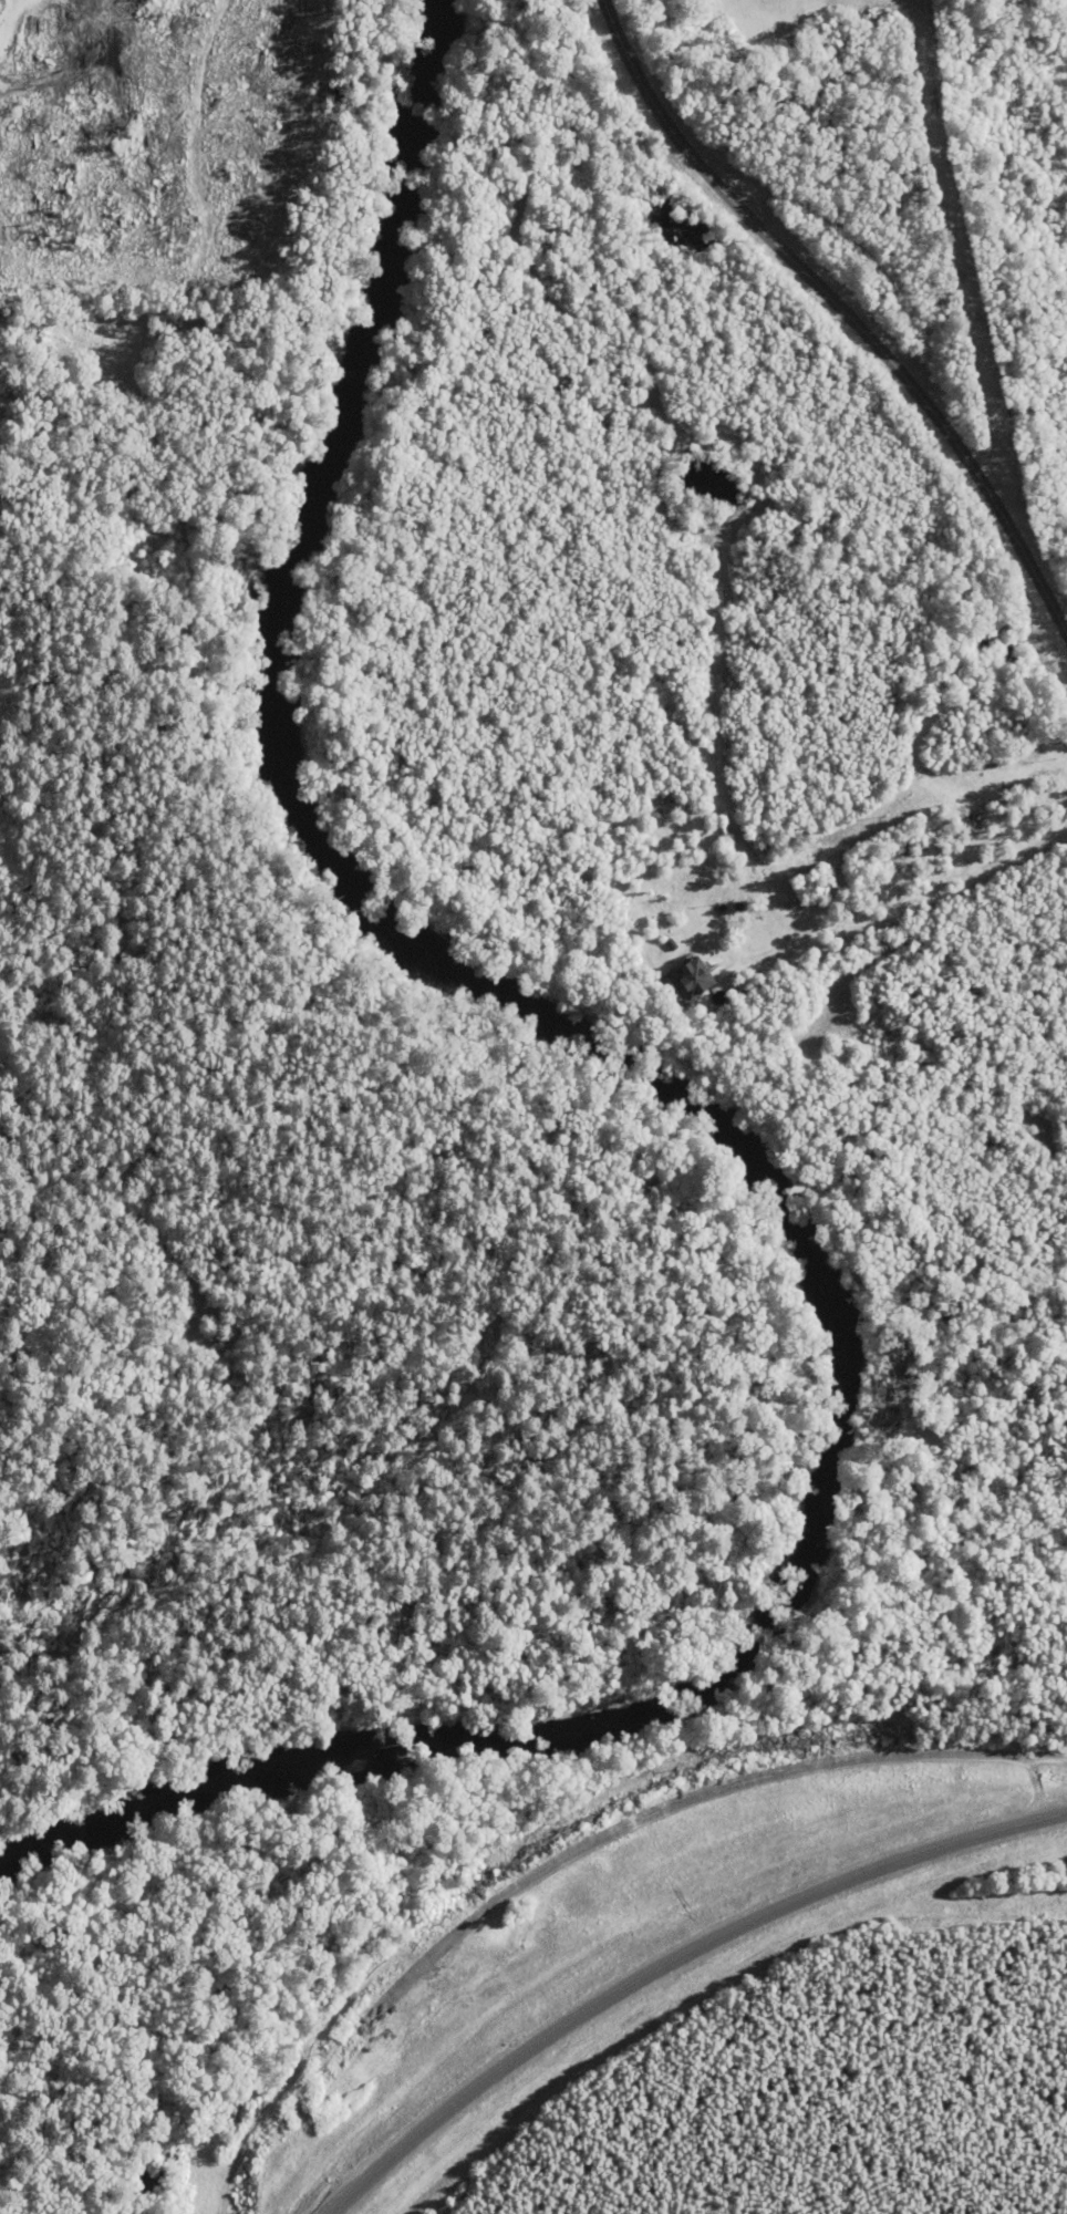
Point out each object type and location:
road: (841, 310)
river: (715, 1139)
road: (670, 1962)

